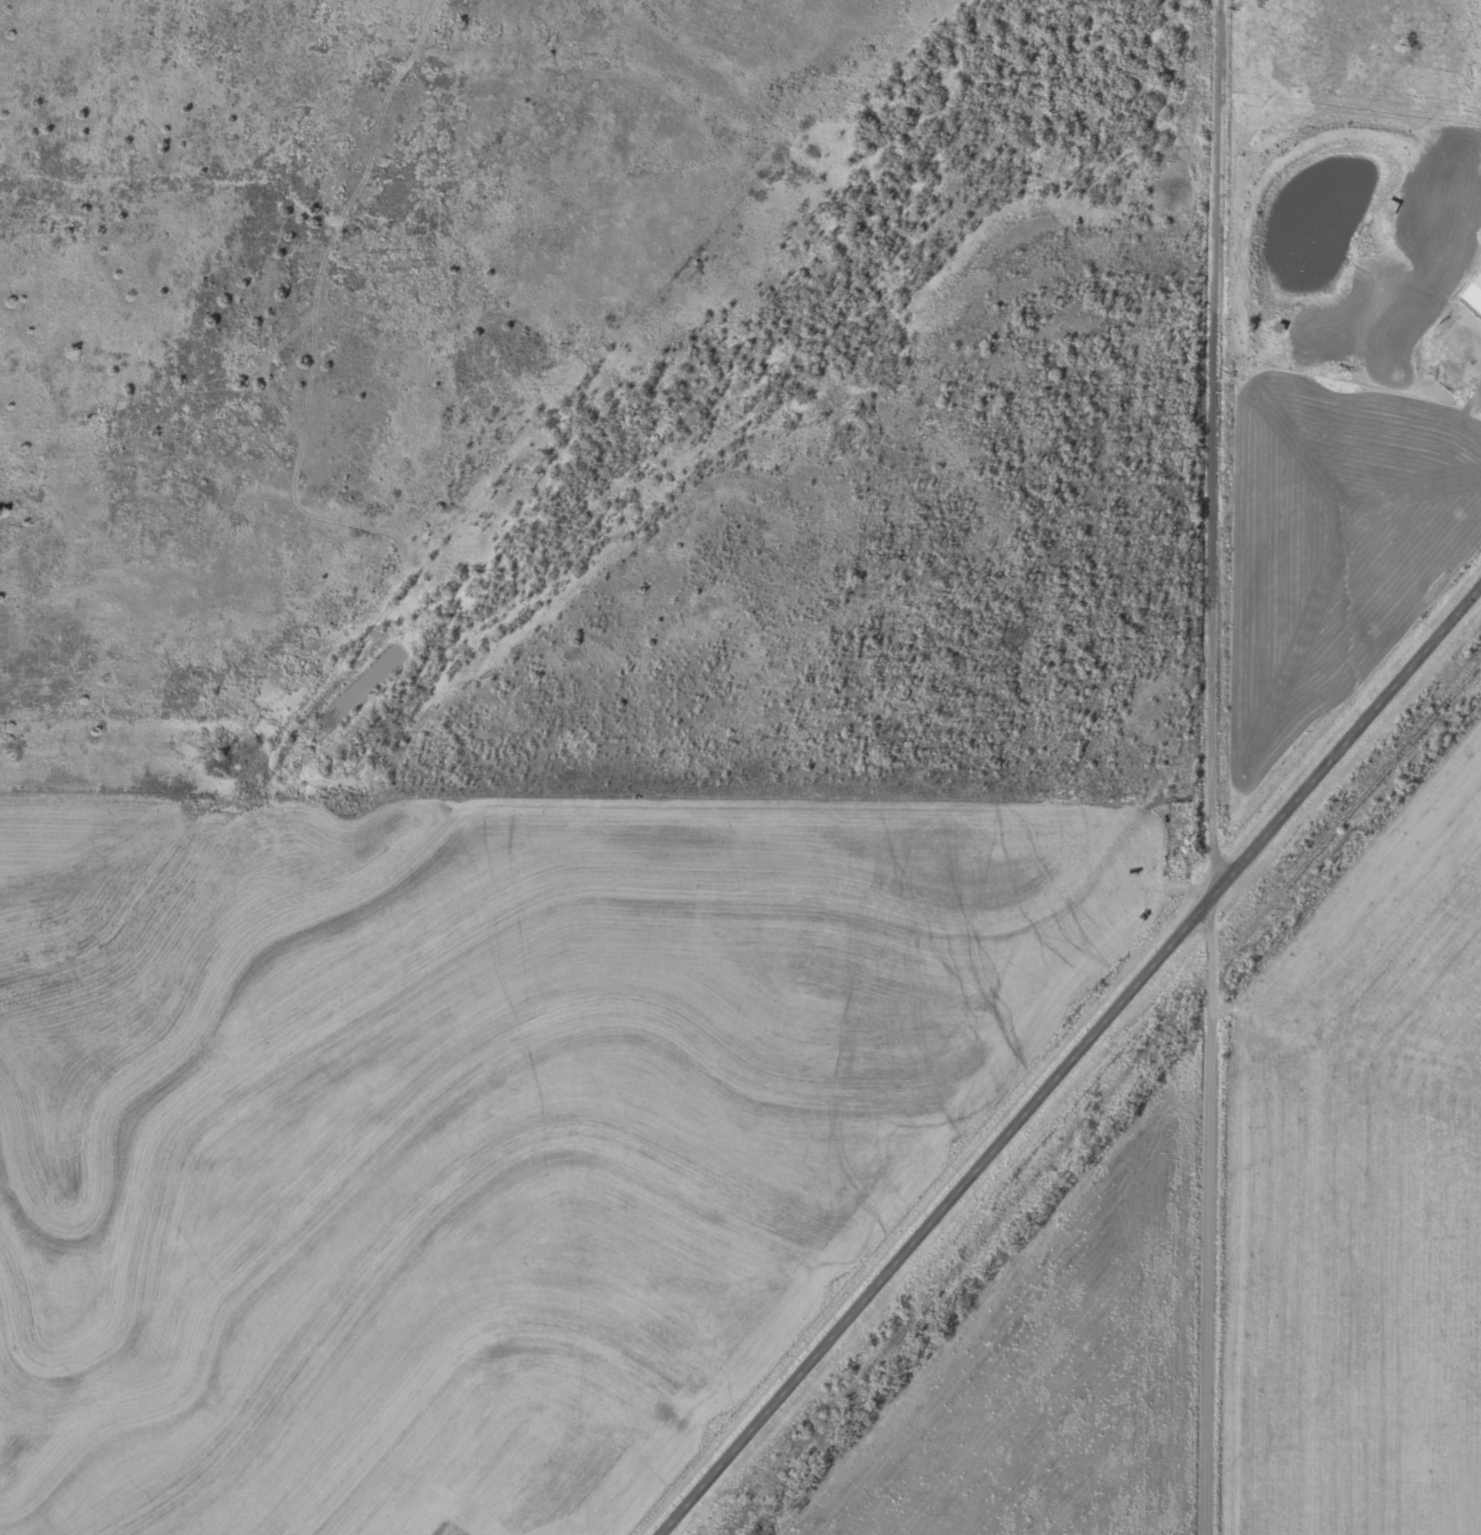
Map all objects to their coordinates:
building: (1475, 296)
road: (1217, 767)
road: (1076, 1067)
railway: (1101, 1096)

